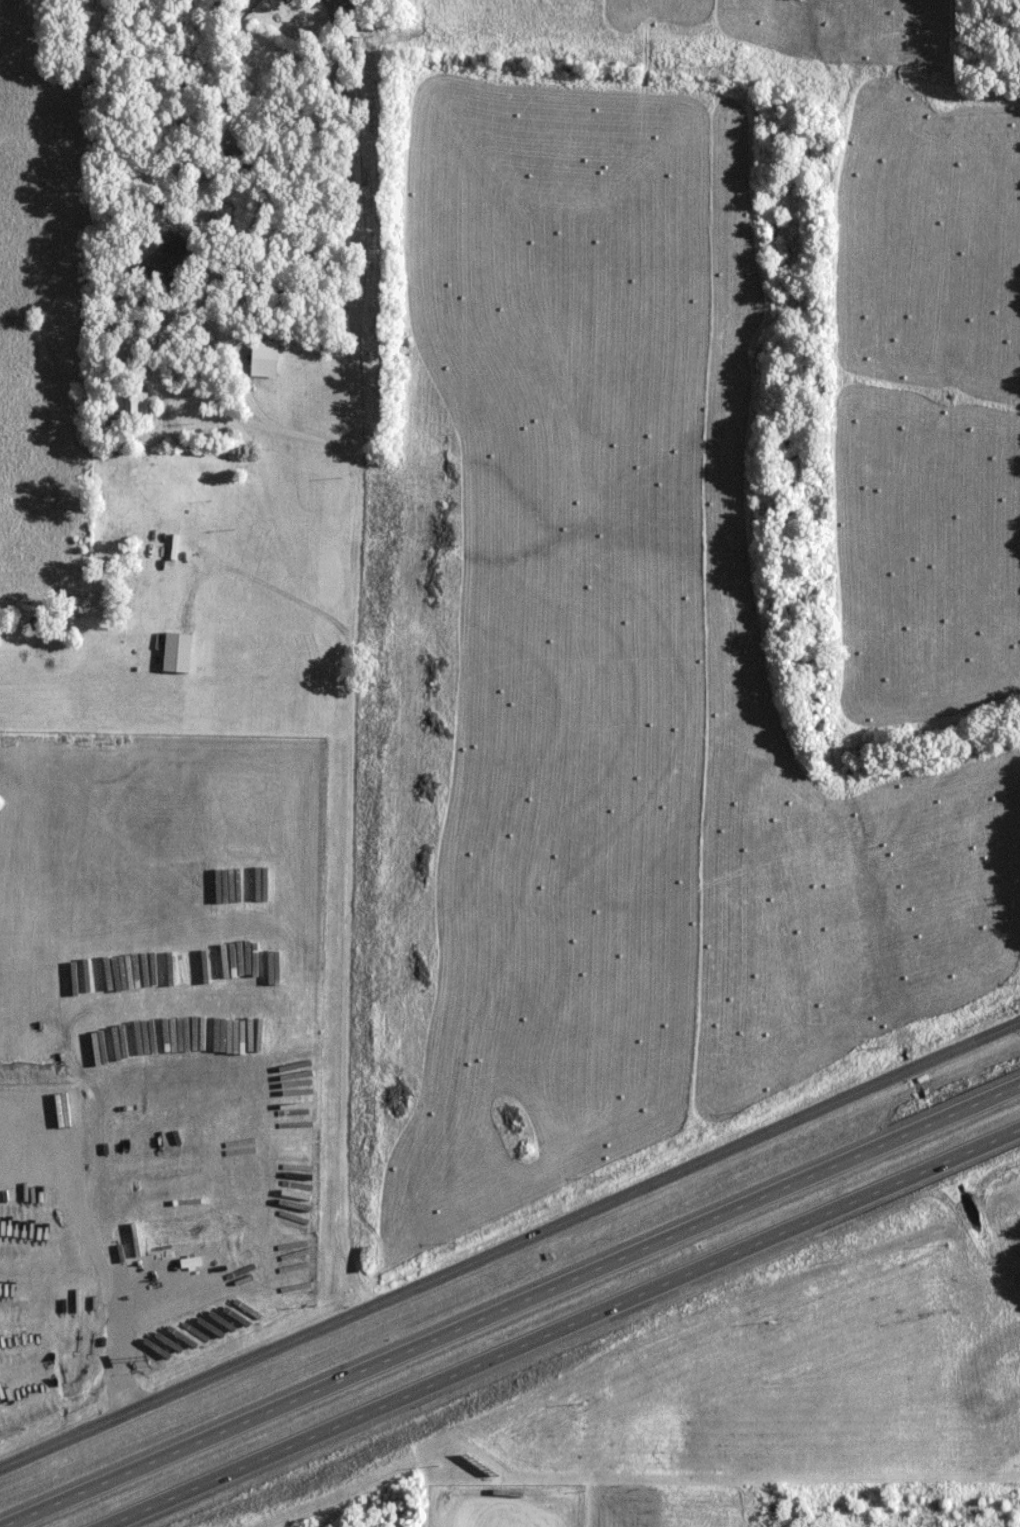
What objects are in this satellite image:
road: (358, 220)
building: (166, 261)
road: (151, 366)
building: (132, 402)
building: (178, 653)
crop: (613, 678)
road: (349, 870)
road: (508, 1246)
road: (525, 1312)
road: (575, 1333)

